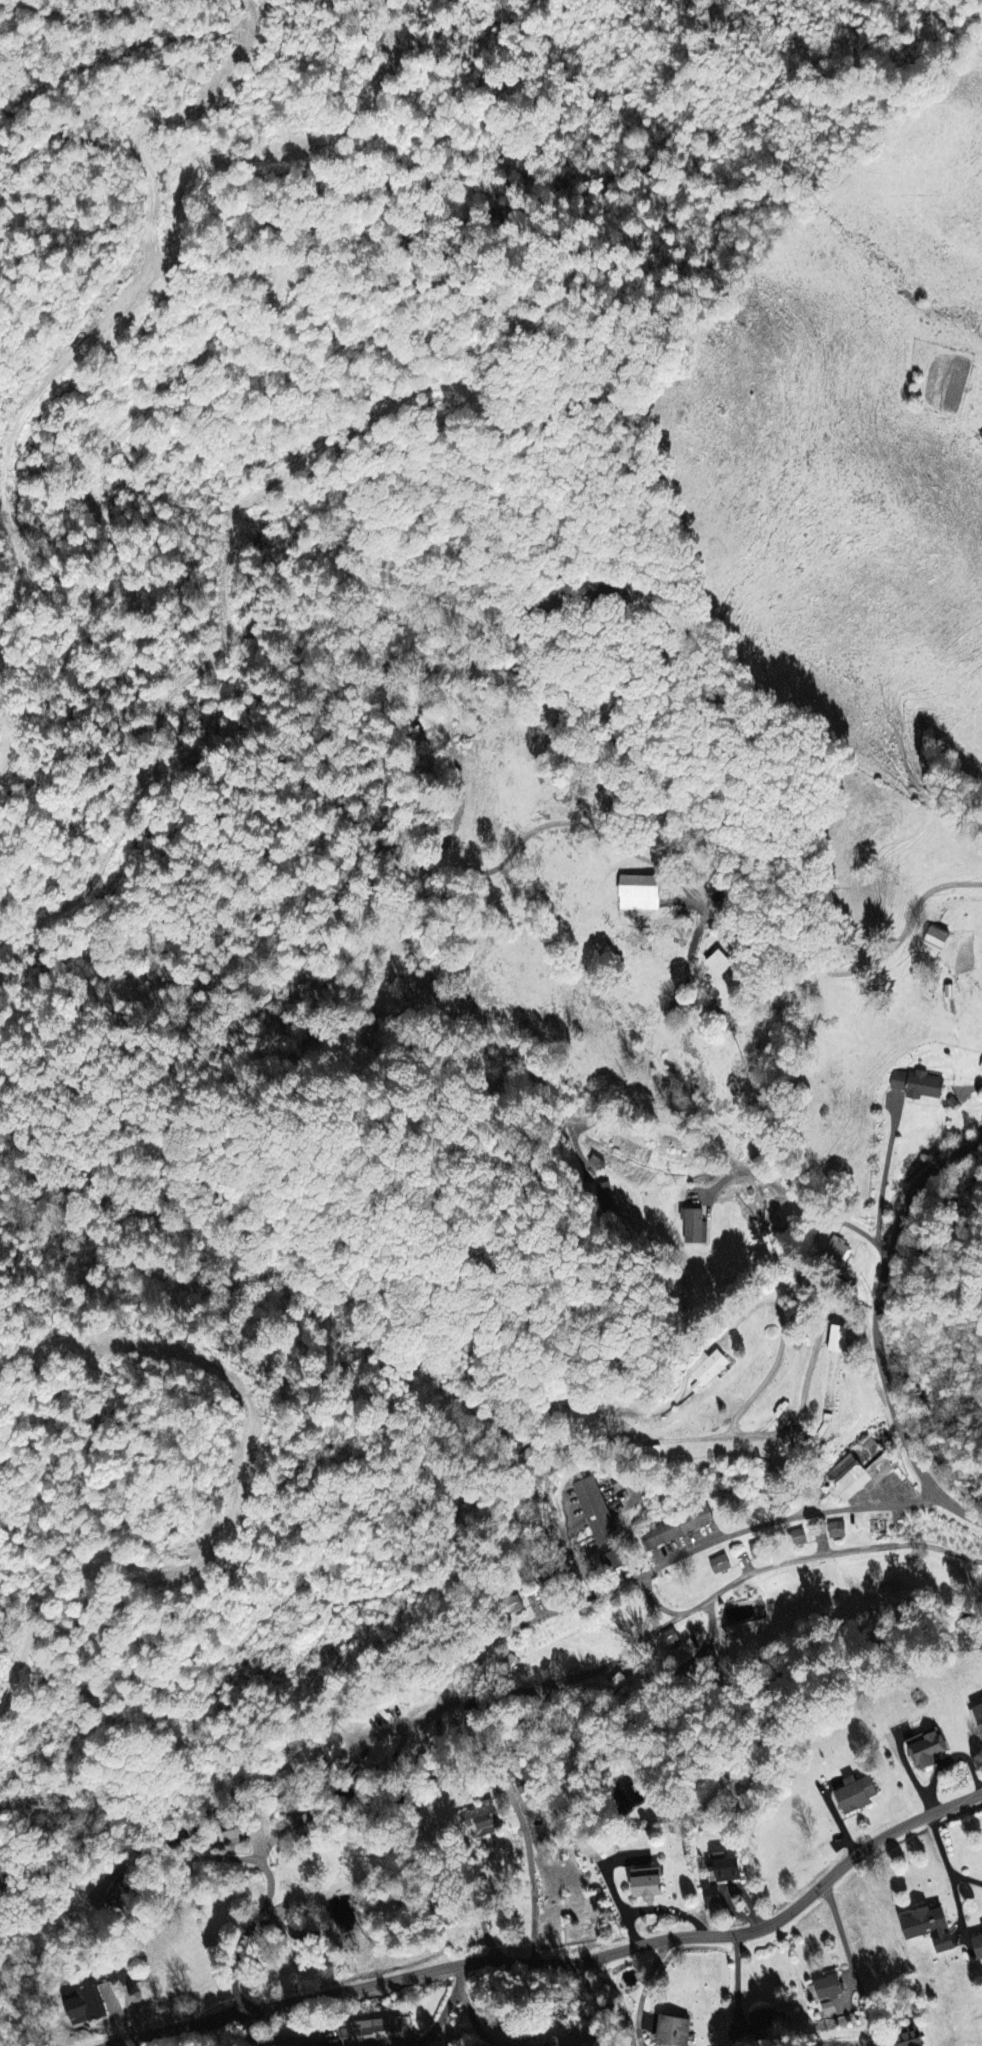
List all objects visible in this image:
road: (458, 617)
road: (649, 859)
building: (641, 894)
building: (938, 939)
building: (981, 1071)
building: (919, 1086)
road: (716, 1164)
building: (608, 1198)
building: (695, 1227)
building: (840, 1250)
road: (872, 1333)
building: (839, 1339)
building: (708, 1370)
building: (859, 1476)
building: (597, 1512)
building: (678, 1528)
building: (879, 1528)
building: (838, 1530)
building: (798, 1538)
building: (758, 1550)
building: (608, 1563)
building: (721, 1564)
building: (672, 1640)
building: (979, 1715)
road: (248, 1717)
building: (928, 1749)
road: (947, 1759)
building: (856, 1794)
building: (481, 1819)
building: (234, 1837)
road: (258, 1869)
road: (532, 1876)
road: (966, 1876)
road: (951, 1877)
building: (648, 1884)
building: (712, 1896)
road: (656, 1910)
building: (930, 1928)
road: (566, 1962)
building: (829, 1988)
road: (854, 1992)
road: (597, 2002)
building: (86, 2007)
building: (829, 2008)
road: (478, 2026)
building: (374, 2033)
building: (910, 2038)
road: (255, 2040)

